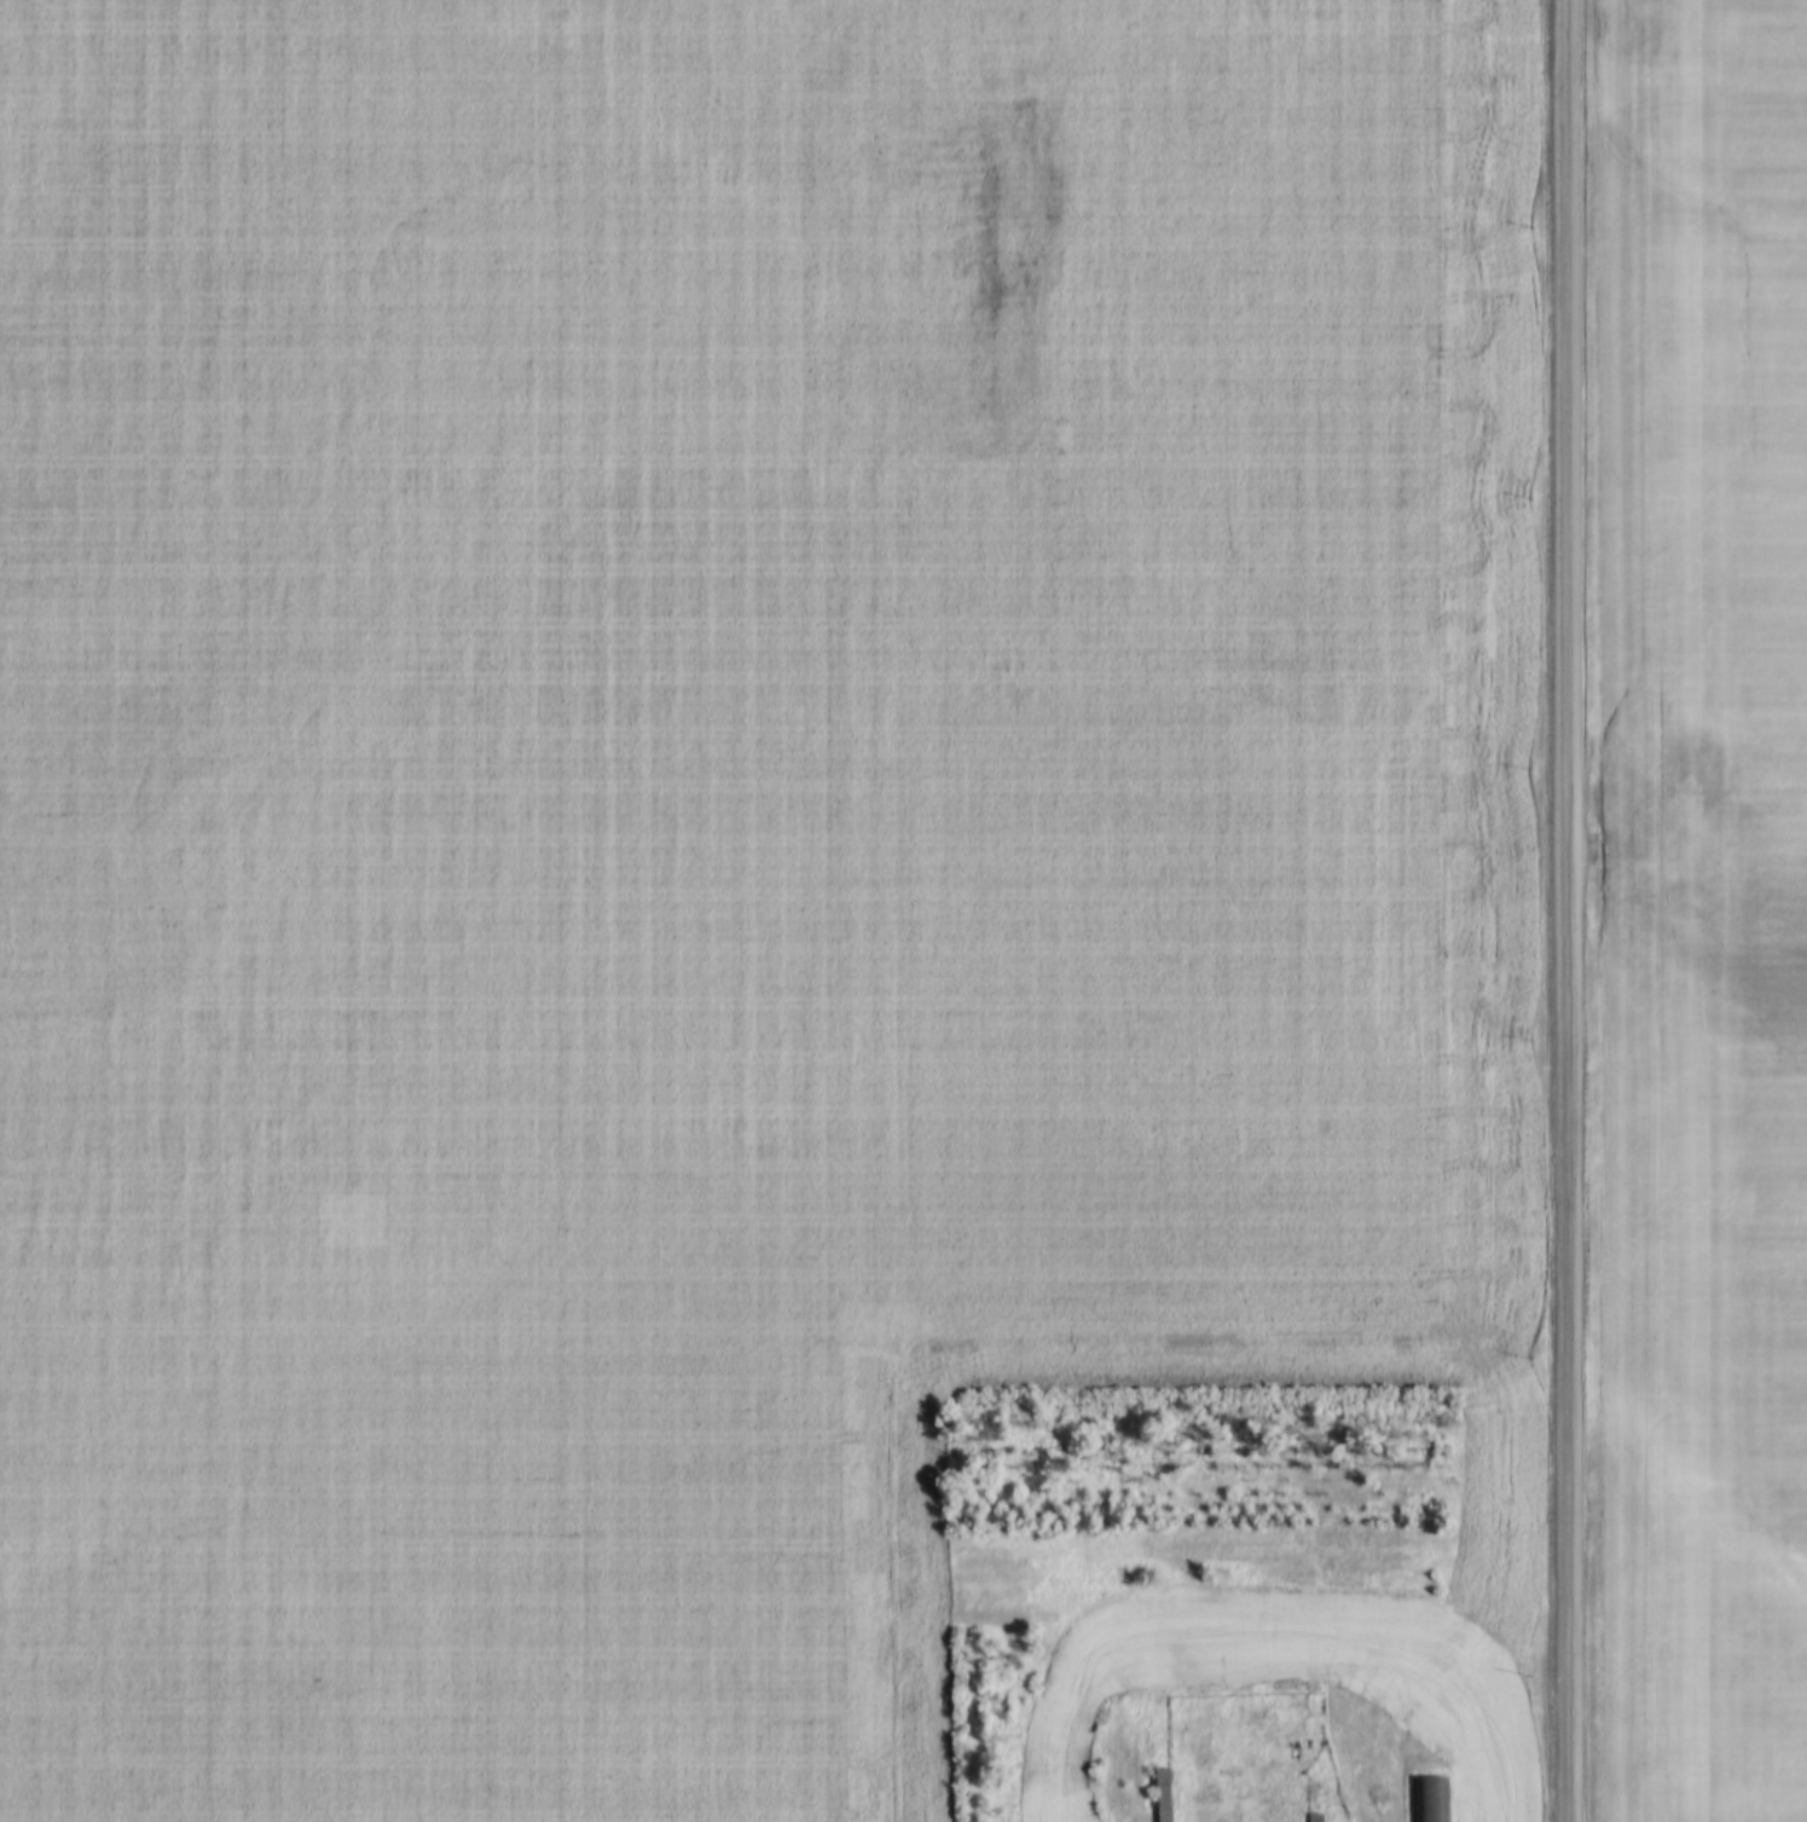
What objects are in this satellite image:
road: (1563, 910)
building: (1164, 1795)
building: (1432, 1799)
building: (1316, 1818)

